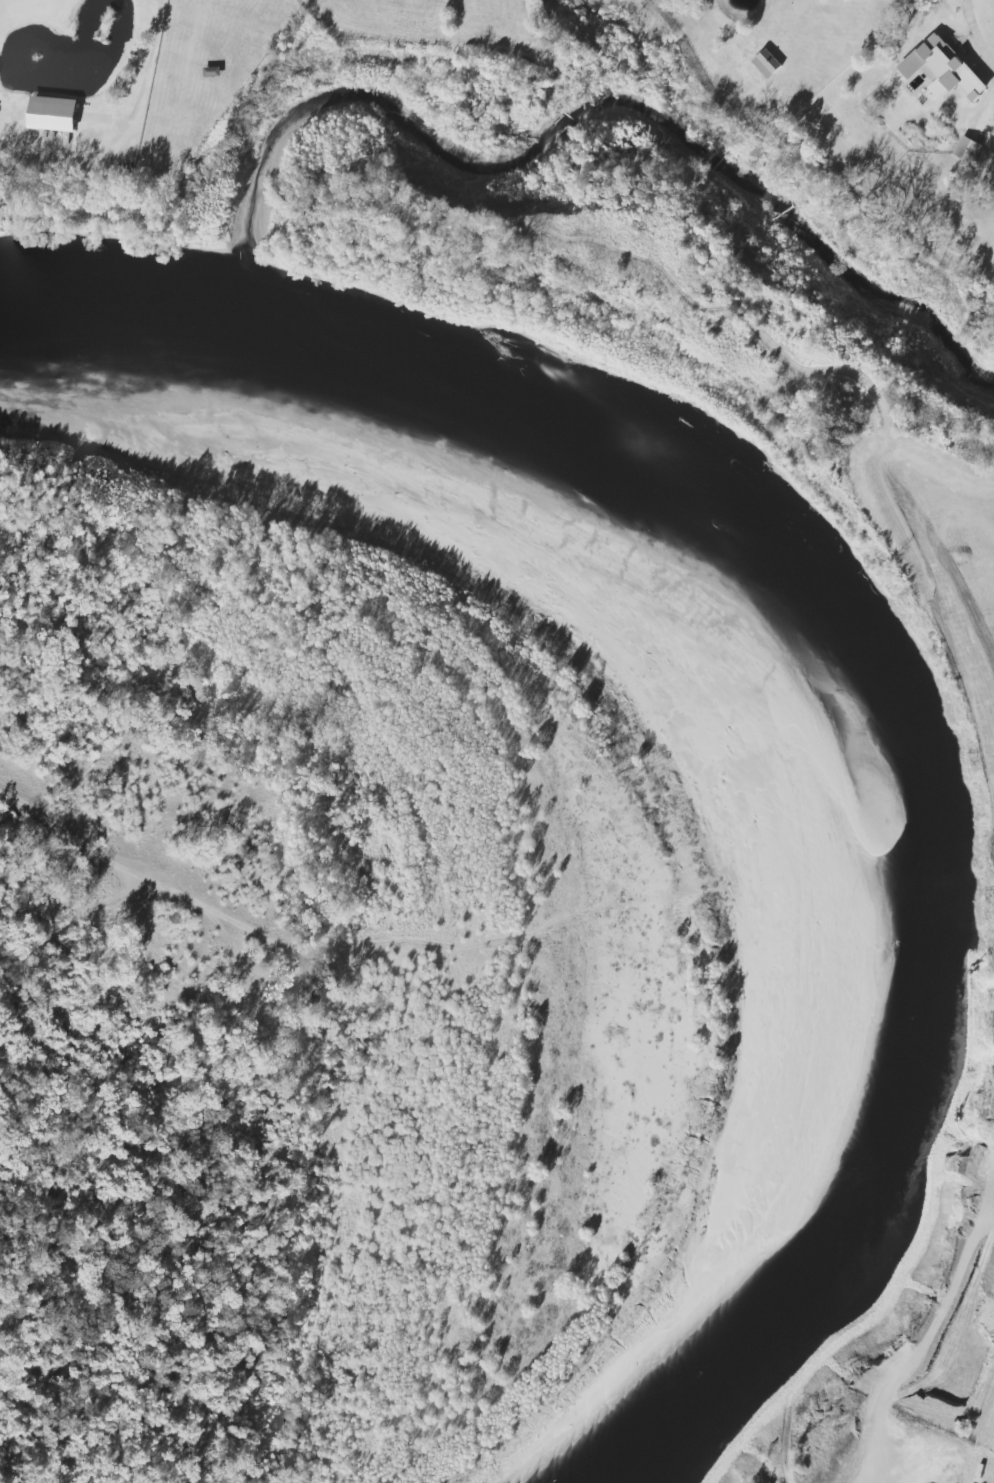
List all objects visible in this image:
road: (974, 23)
building: (767, 63)
building: (943, 68)
building: (213, 72)
building: (53, 113)
building: (968, 150)
river: (821, 631)
road: (133, 872)

